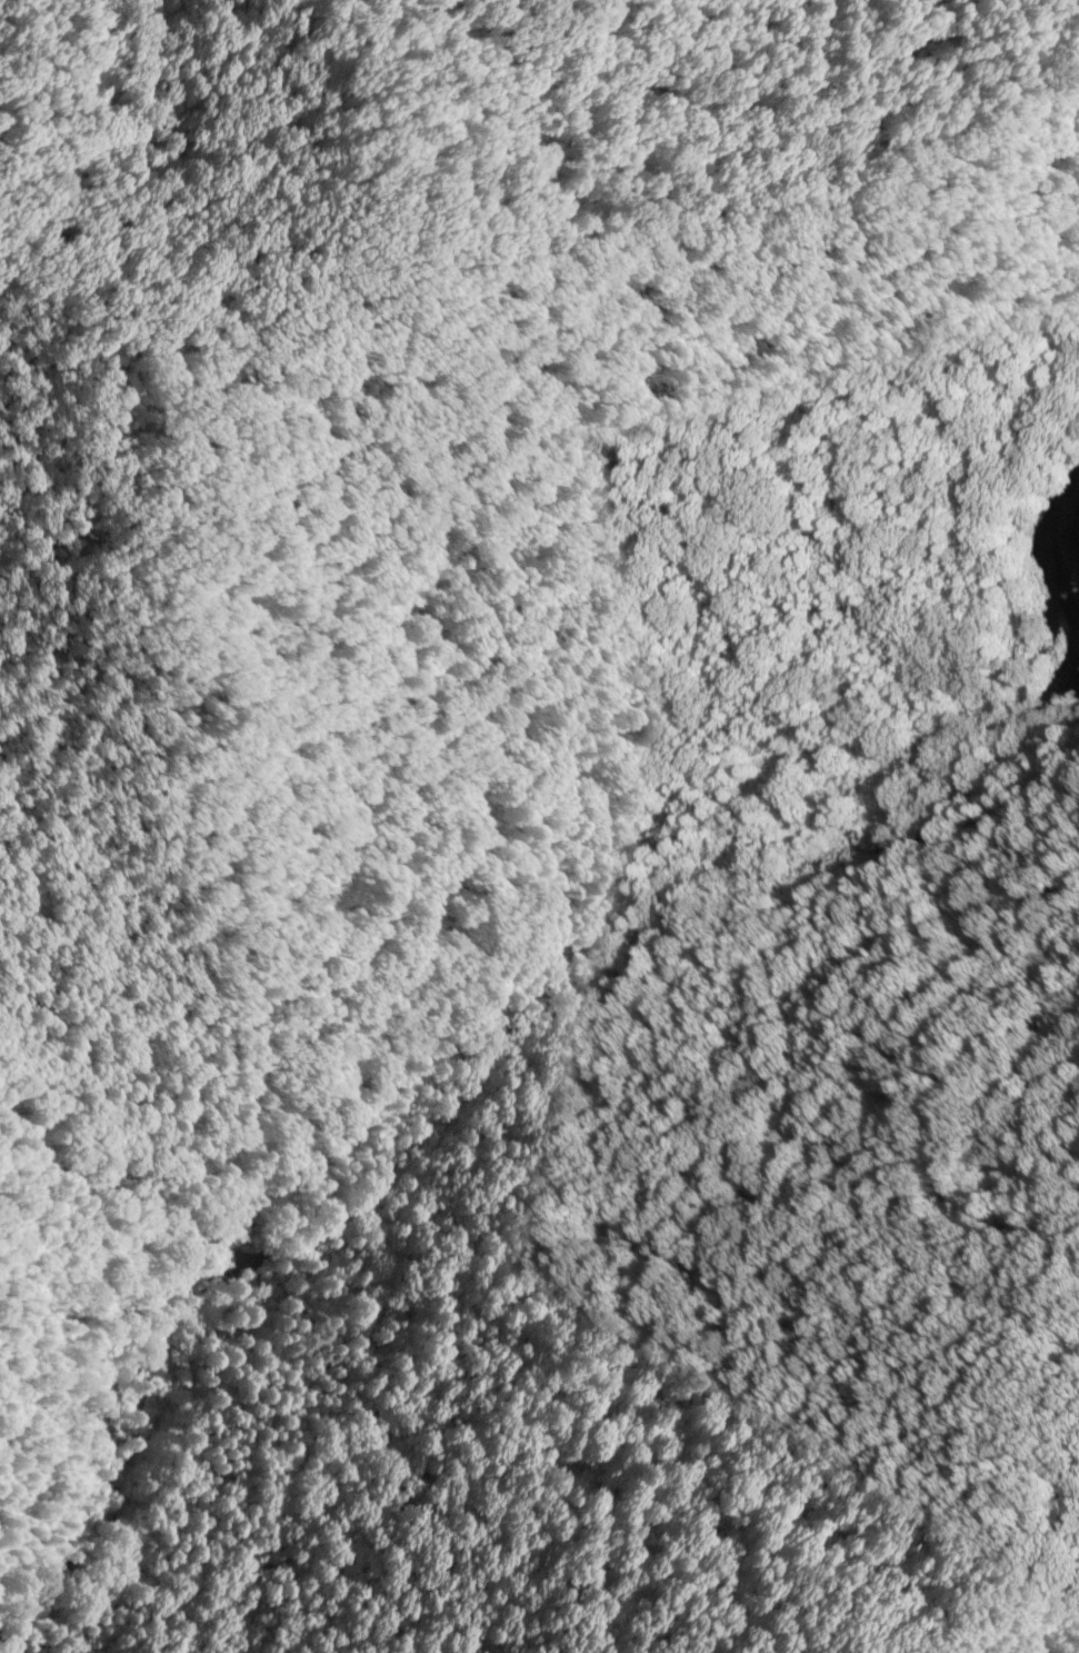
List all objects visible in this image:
road: (29, 1418)

